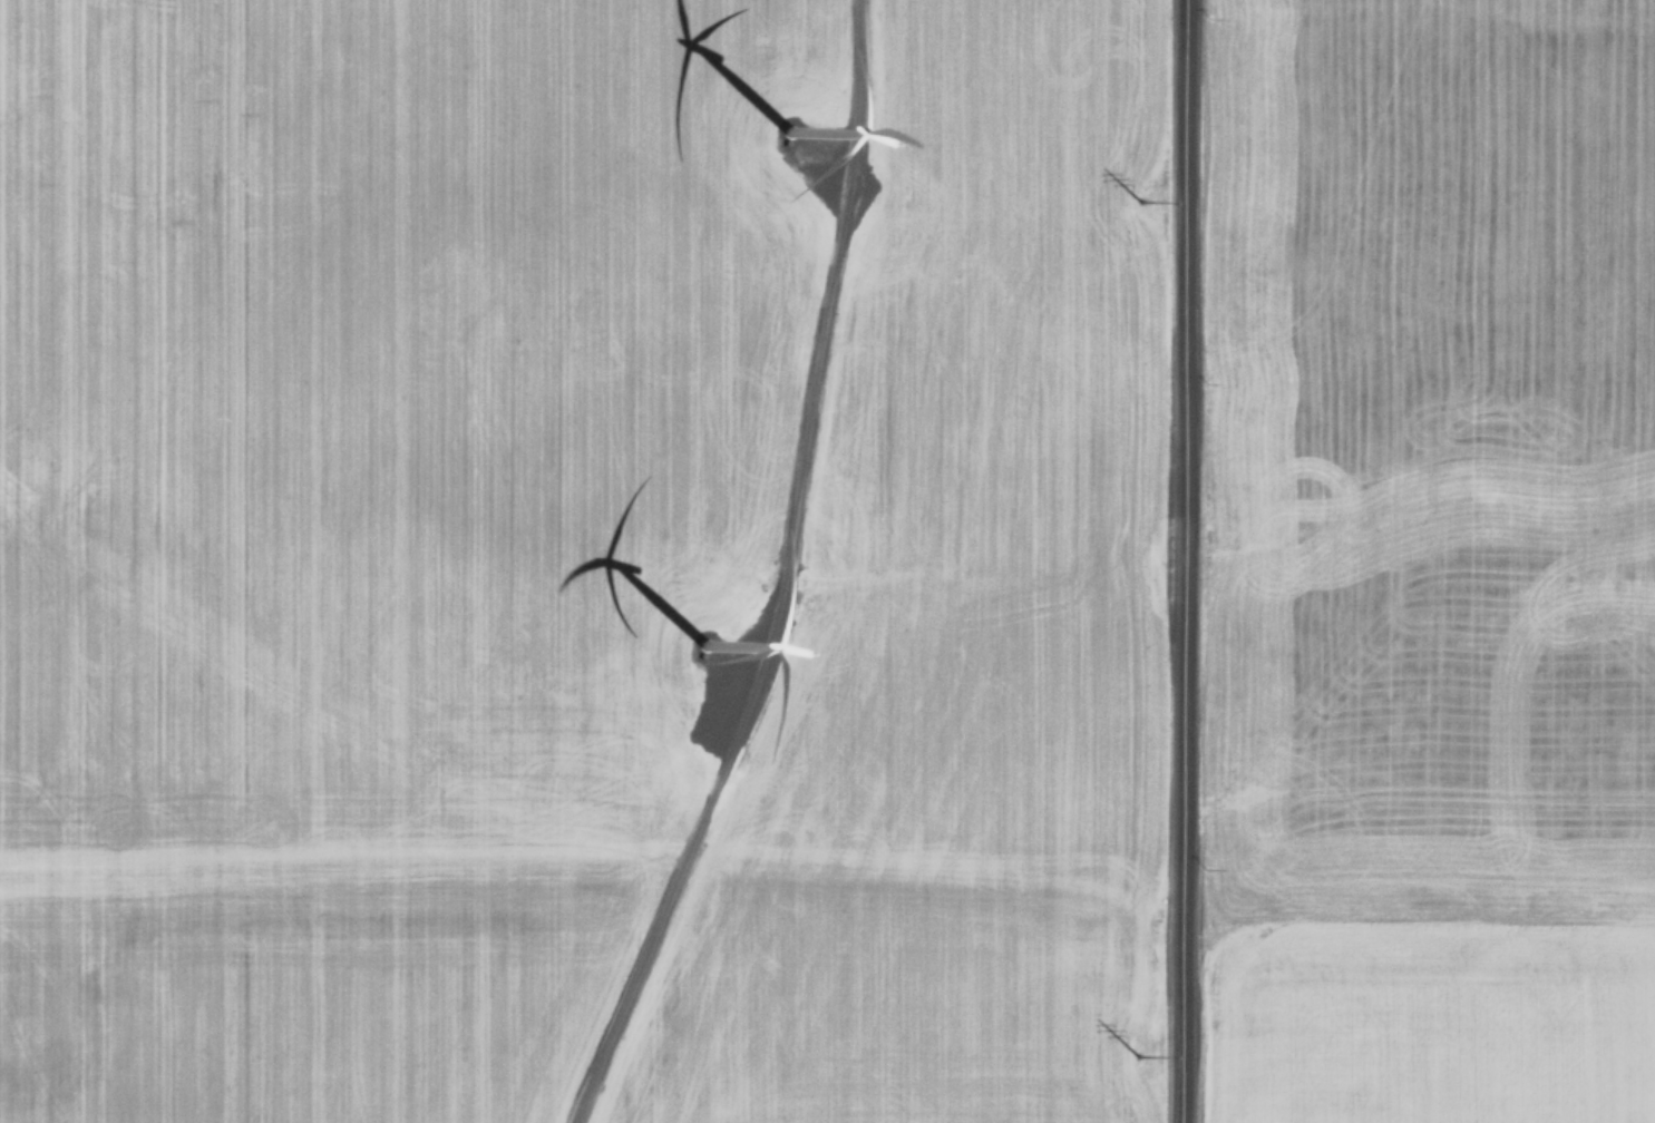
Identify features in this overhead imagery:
wind turbine: (785, 137)
power tower: (1136, 186)
road: (1179, 560)
road: (771, 577)
wind turbine: (712, 666)
power tower: (1135, 1044)

